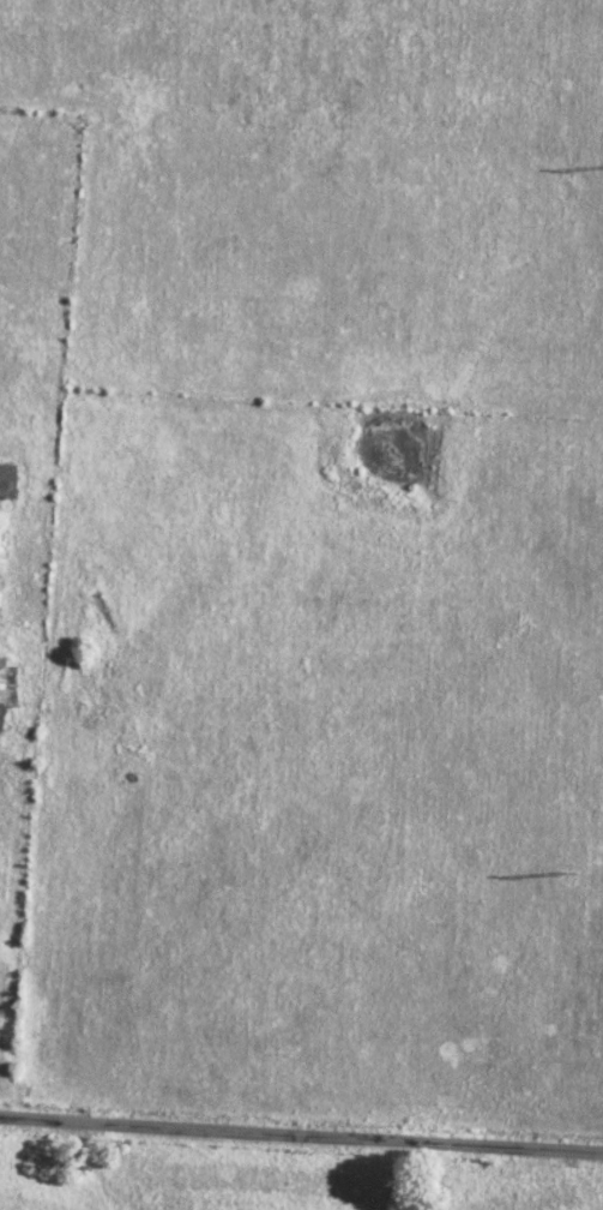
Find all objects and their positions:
building: (7, 480)
building: (6, 687)
power tower: (561, 869)
road: (301, 1133)

